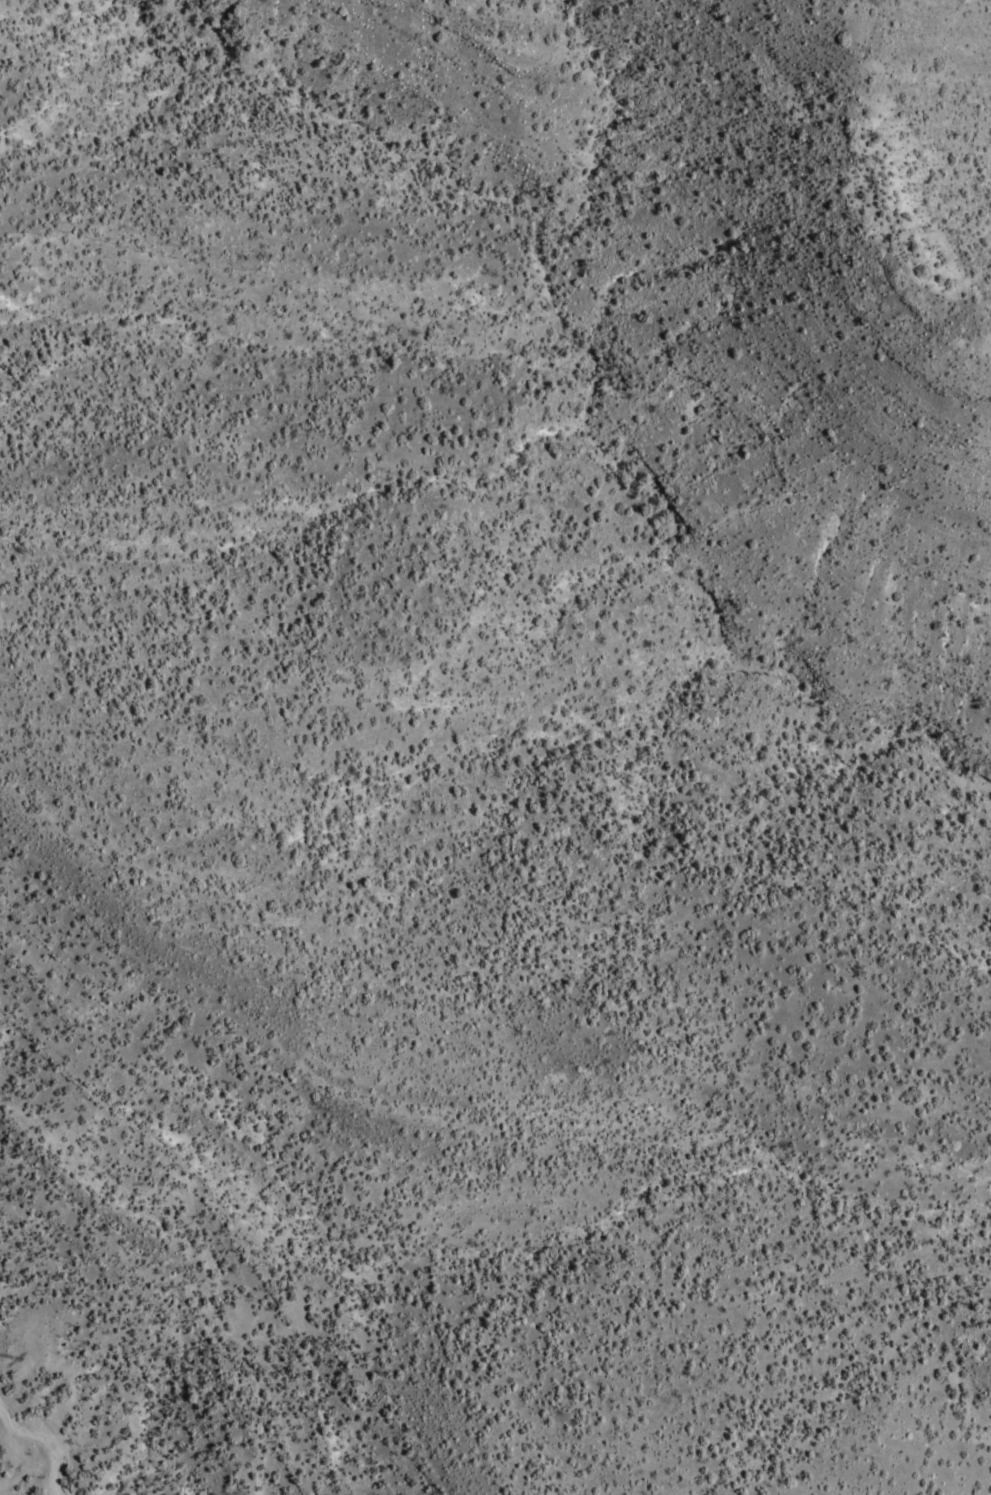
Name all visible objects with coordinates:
power tower: (19, 1357)
road: (46, 1439)

